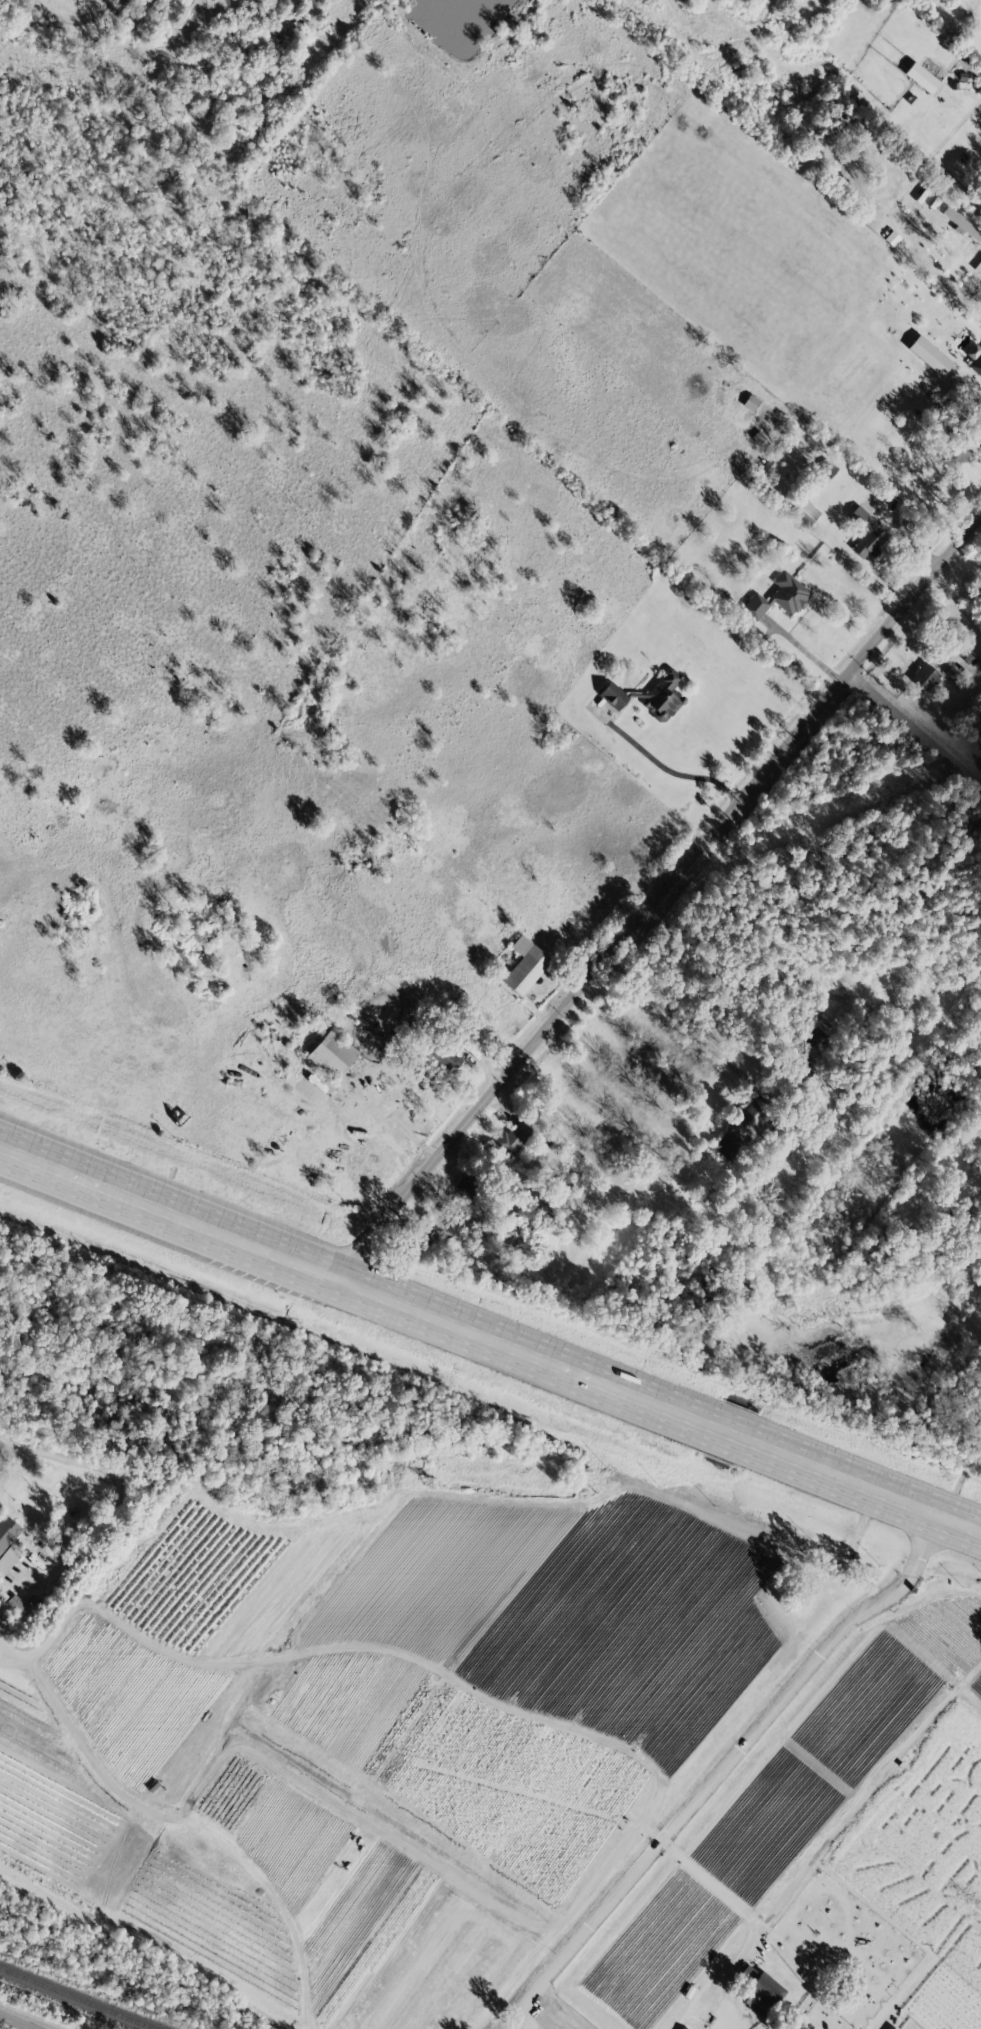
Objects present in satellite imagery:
building: (921, 77)
road: (920, 334)
building: (929, 355)
building: (975, 359)
building: (805, 512)
building: (866, 533)
building: (778, 597)
road: (806, 653)
building: (923, 677)
building: (662, 694)
building: (612, 695)
road: (917, 729)
road: (668, 769)
road: (660, 904)
building: (524, 965)
road: (682, 1023)
building: (814, 1036)
building: (331, 1054)
road: (542, 1085)
building: (741, 1128)
building: (512, 1137)
road: (489, 1344)
road: (118, 1496)
building: (7, 1531)
road: (355, 1650)
road: (715, 1769)
road: (745, 1914)
building: (760, 1996)
railway: (77, 1998)
road: (12, 2024)
road: (745, 2024)

